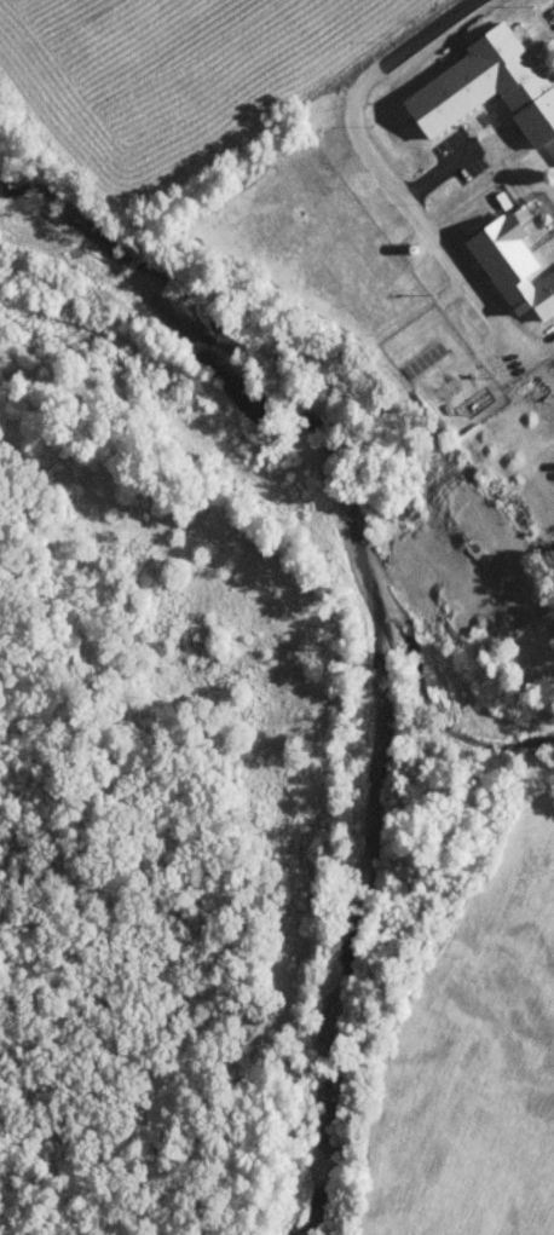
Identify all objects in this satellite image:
building: (490, 88)
road: (433, 172)
road: (385, 179)
building: (543, 296)

